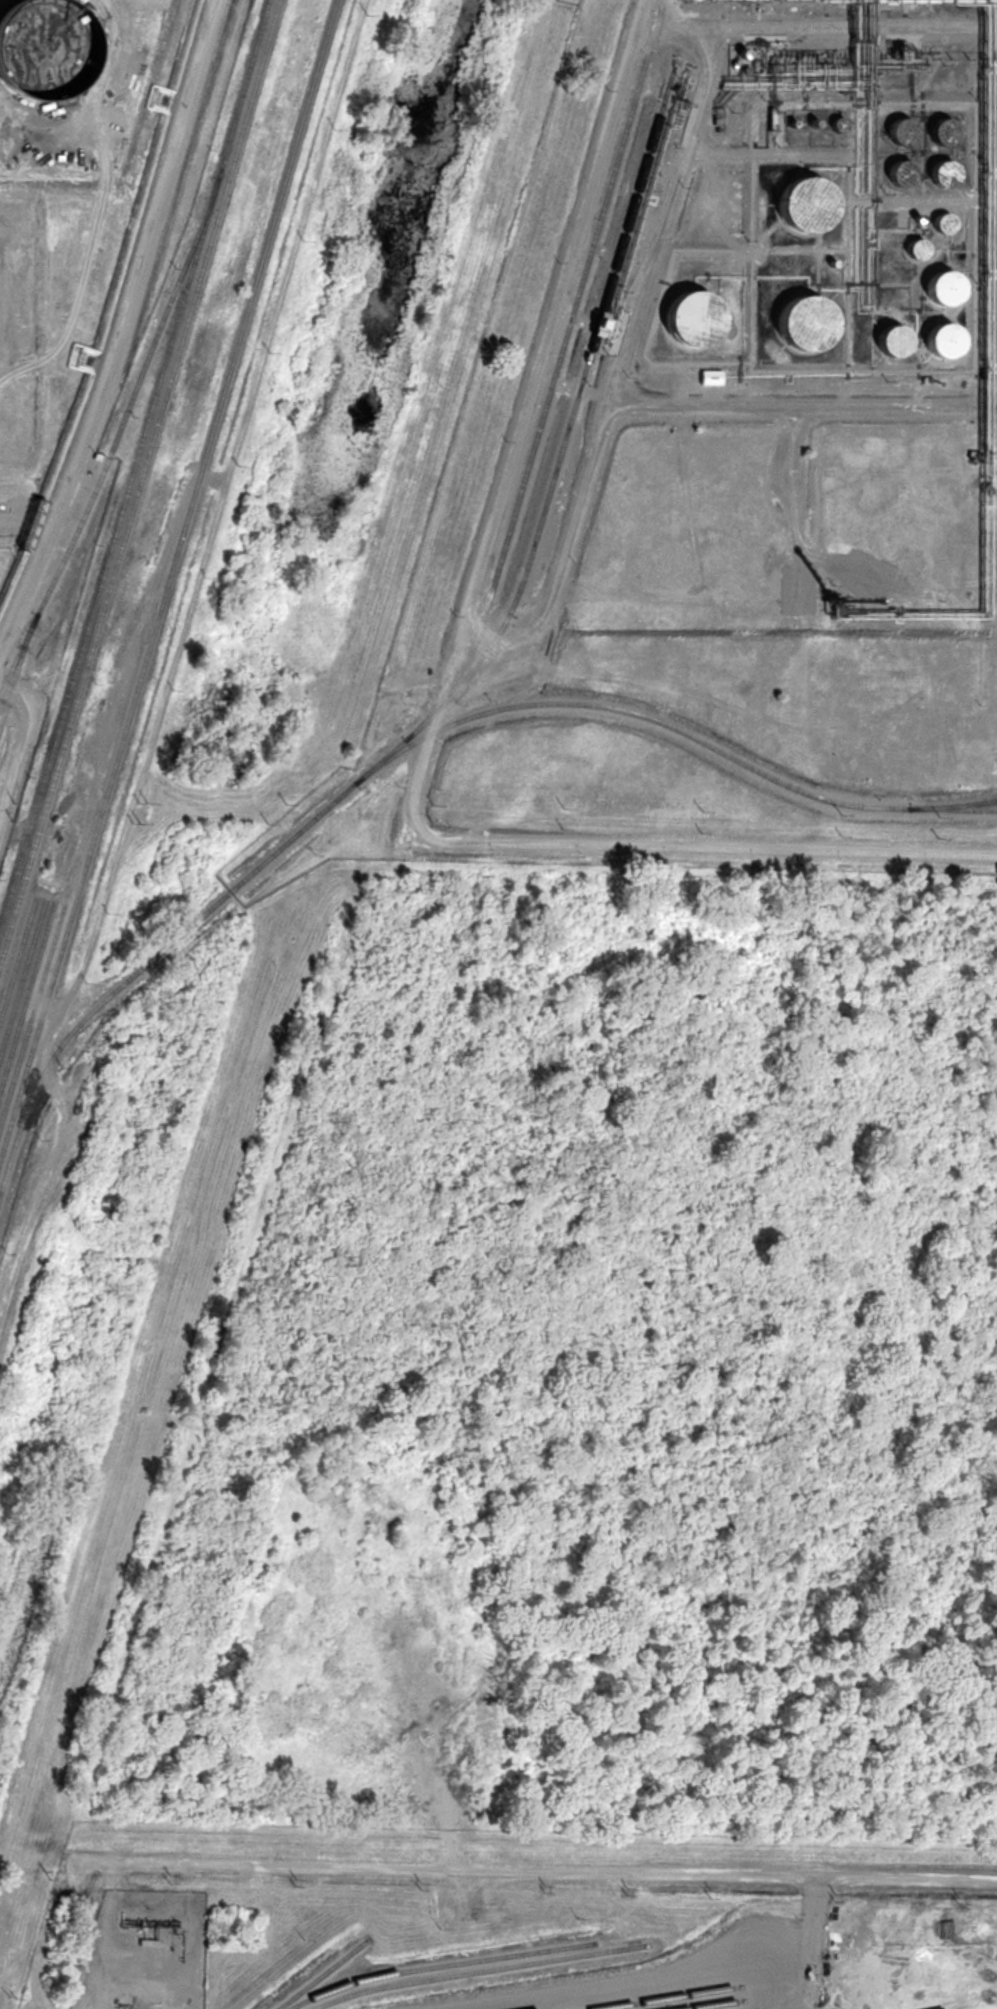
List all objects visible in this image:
storage tank: (51, 42)
building: (47, 51)
building: (944, 135)
building: (903, 136)
building: (944, 175)
building: (902, 176)
building: (801, 202)
building: (936, 284)
building: (792, 309)
building: (687, 312)
road: (119, 321)
building: (888, 338)
building: (936, 339)

